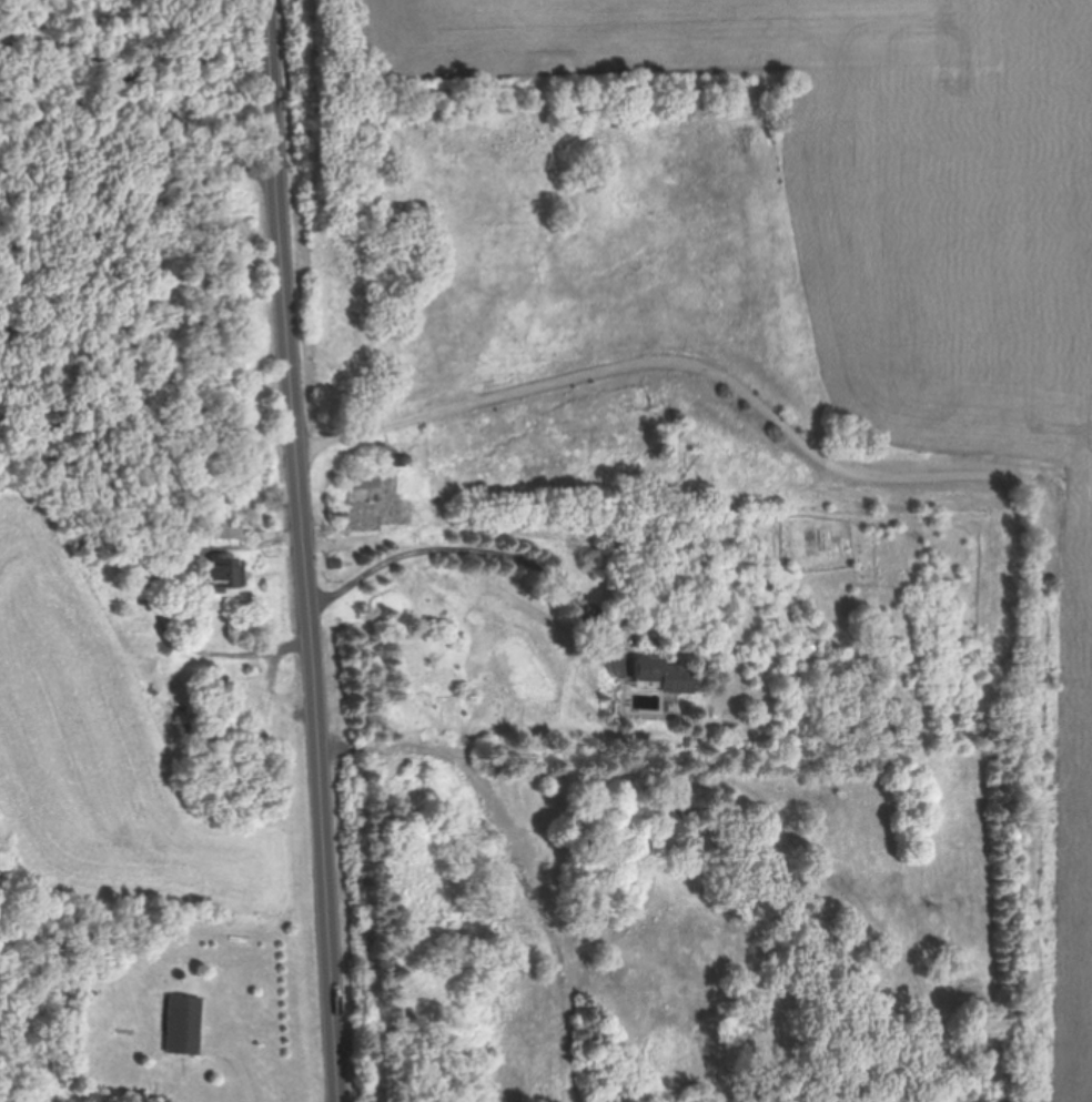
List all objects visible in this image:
road: (148, 90)
road: (950, 474)
building: (366, 476)
building: (223, 515)
road: (309, 550)
road: (479, 552)
building: (216, 575)
road: (153, 601)
building: (659, 675)
building: (183, 1025)
road: (242, 1069)

